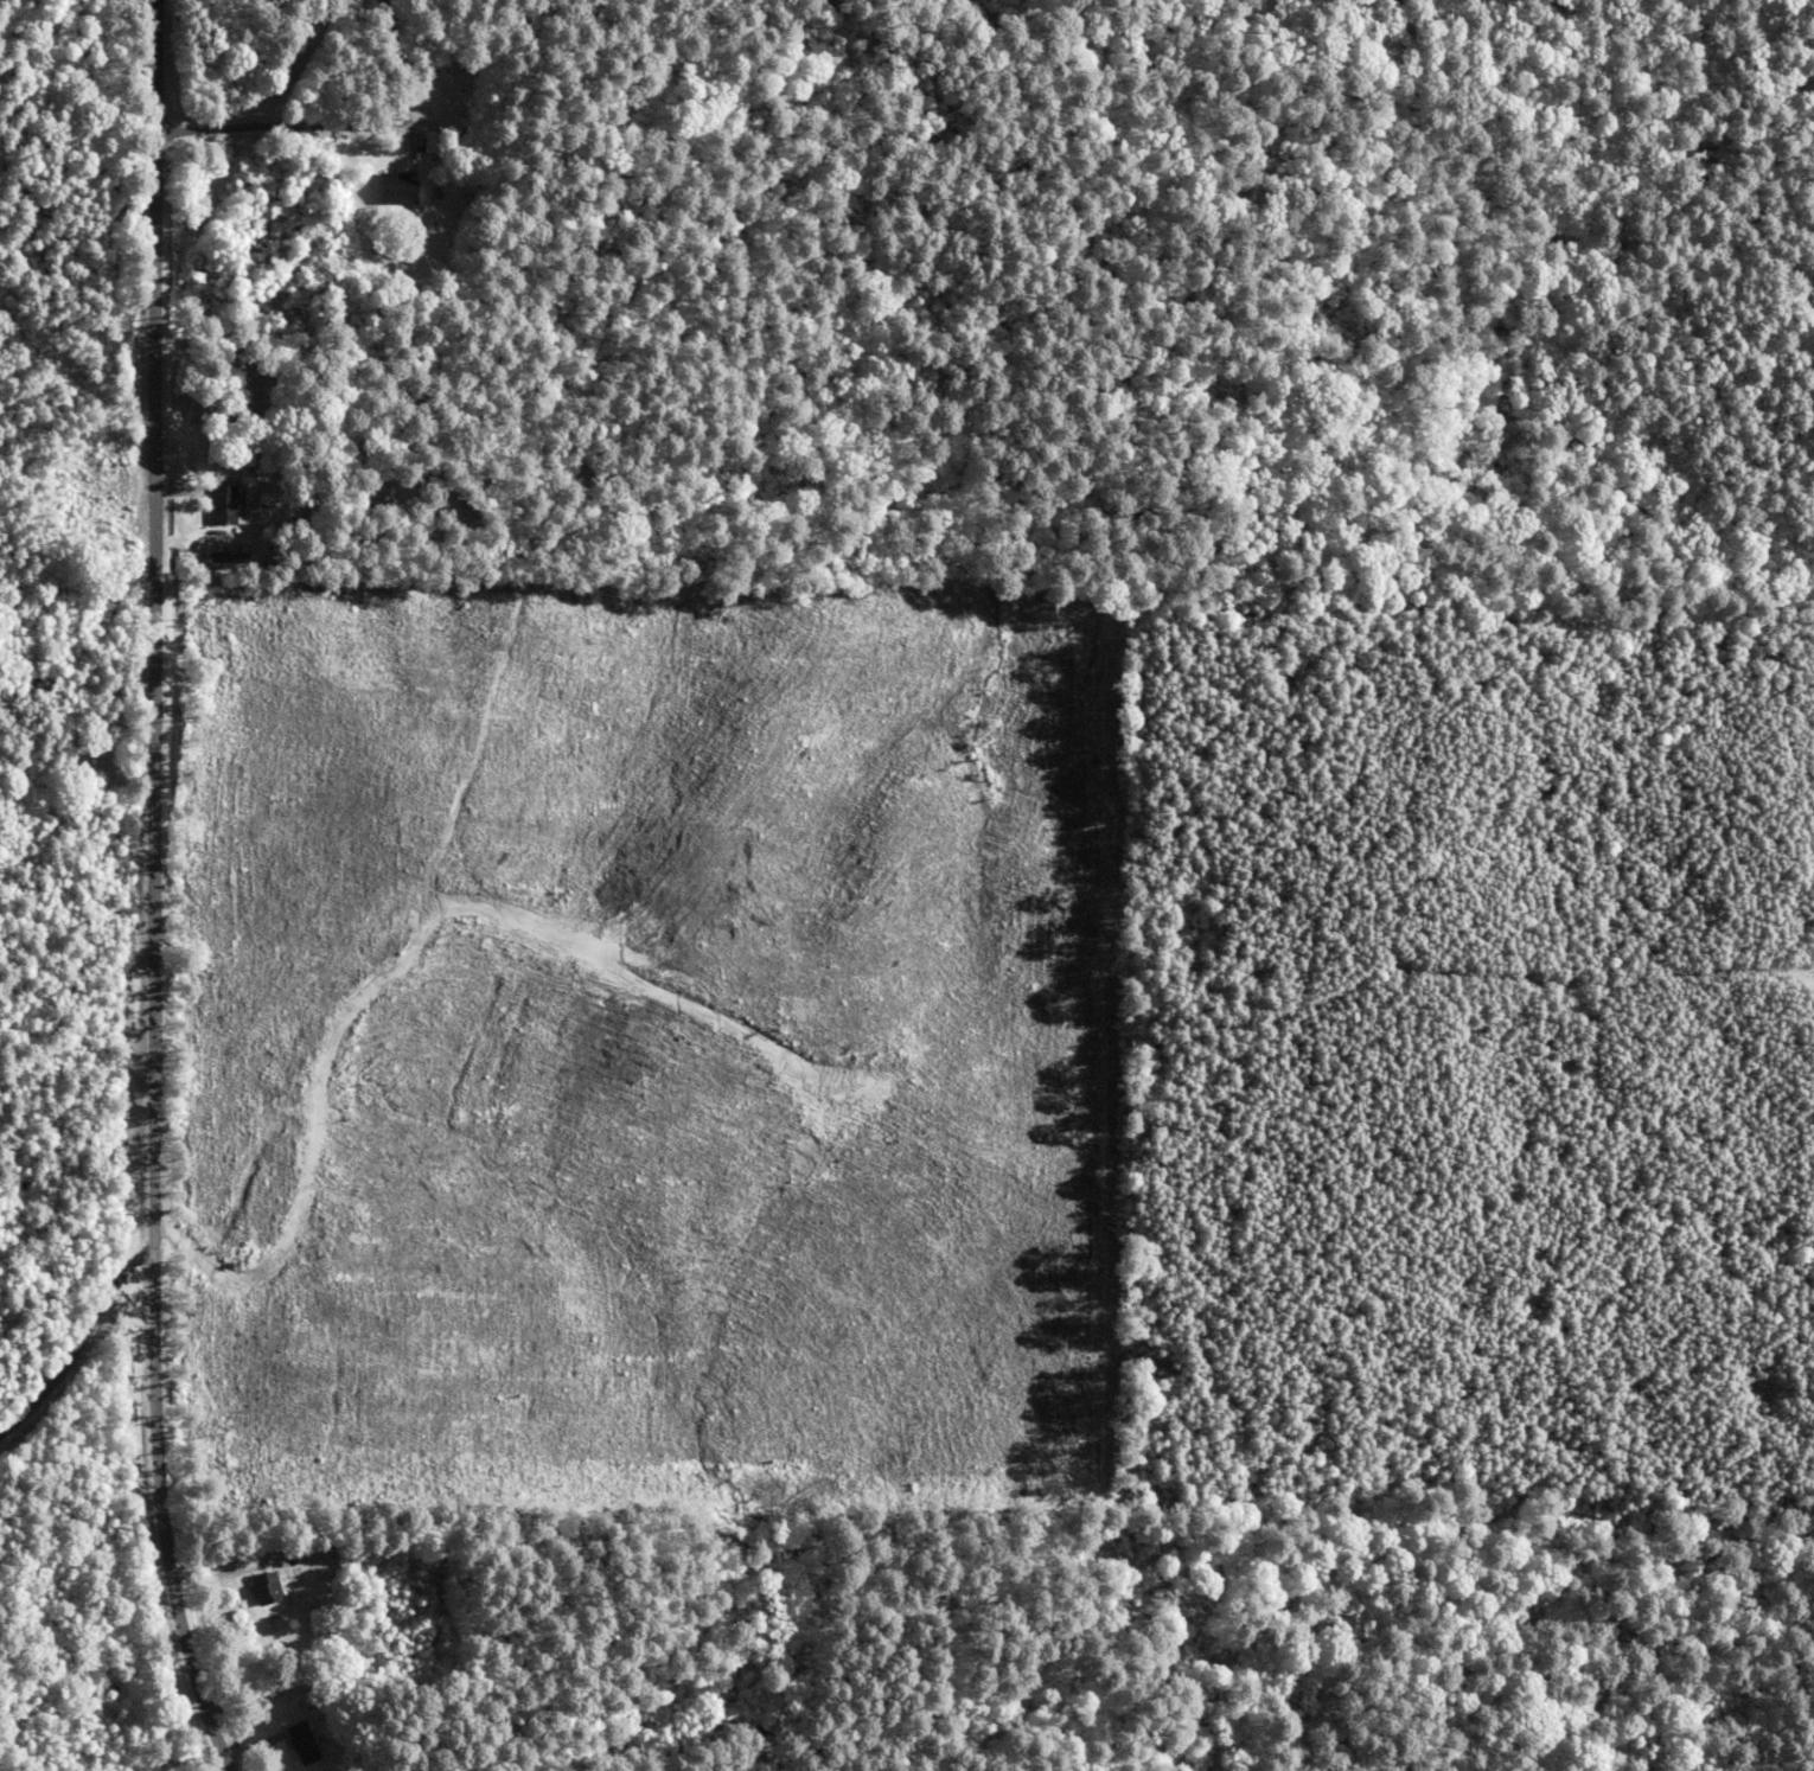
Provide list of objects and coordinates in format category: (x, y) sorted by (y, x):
road: (350, 127)
building: (387, 190)
building: (221, 504)
road: (152, 889)
building: (261, 1586)
building: (298, 1741)

